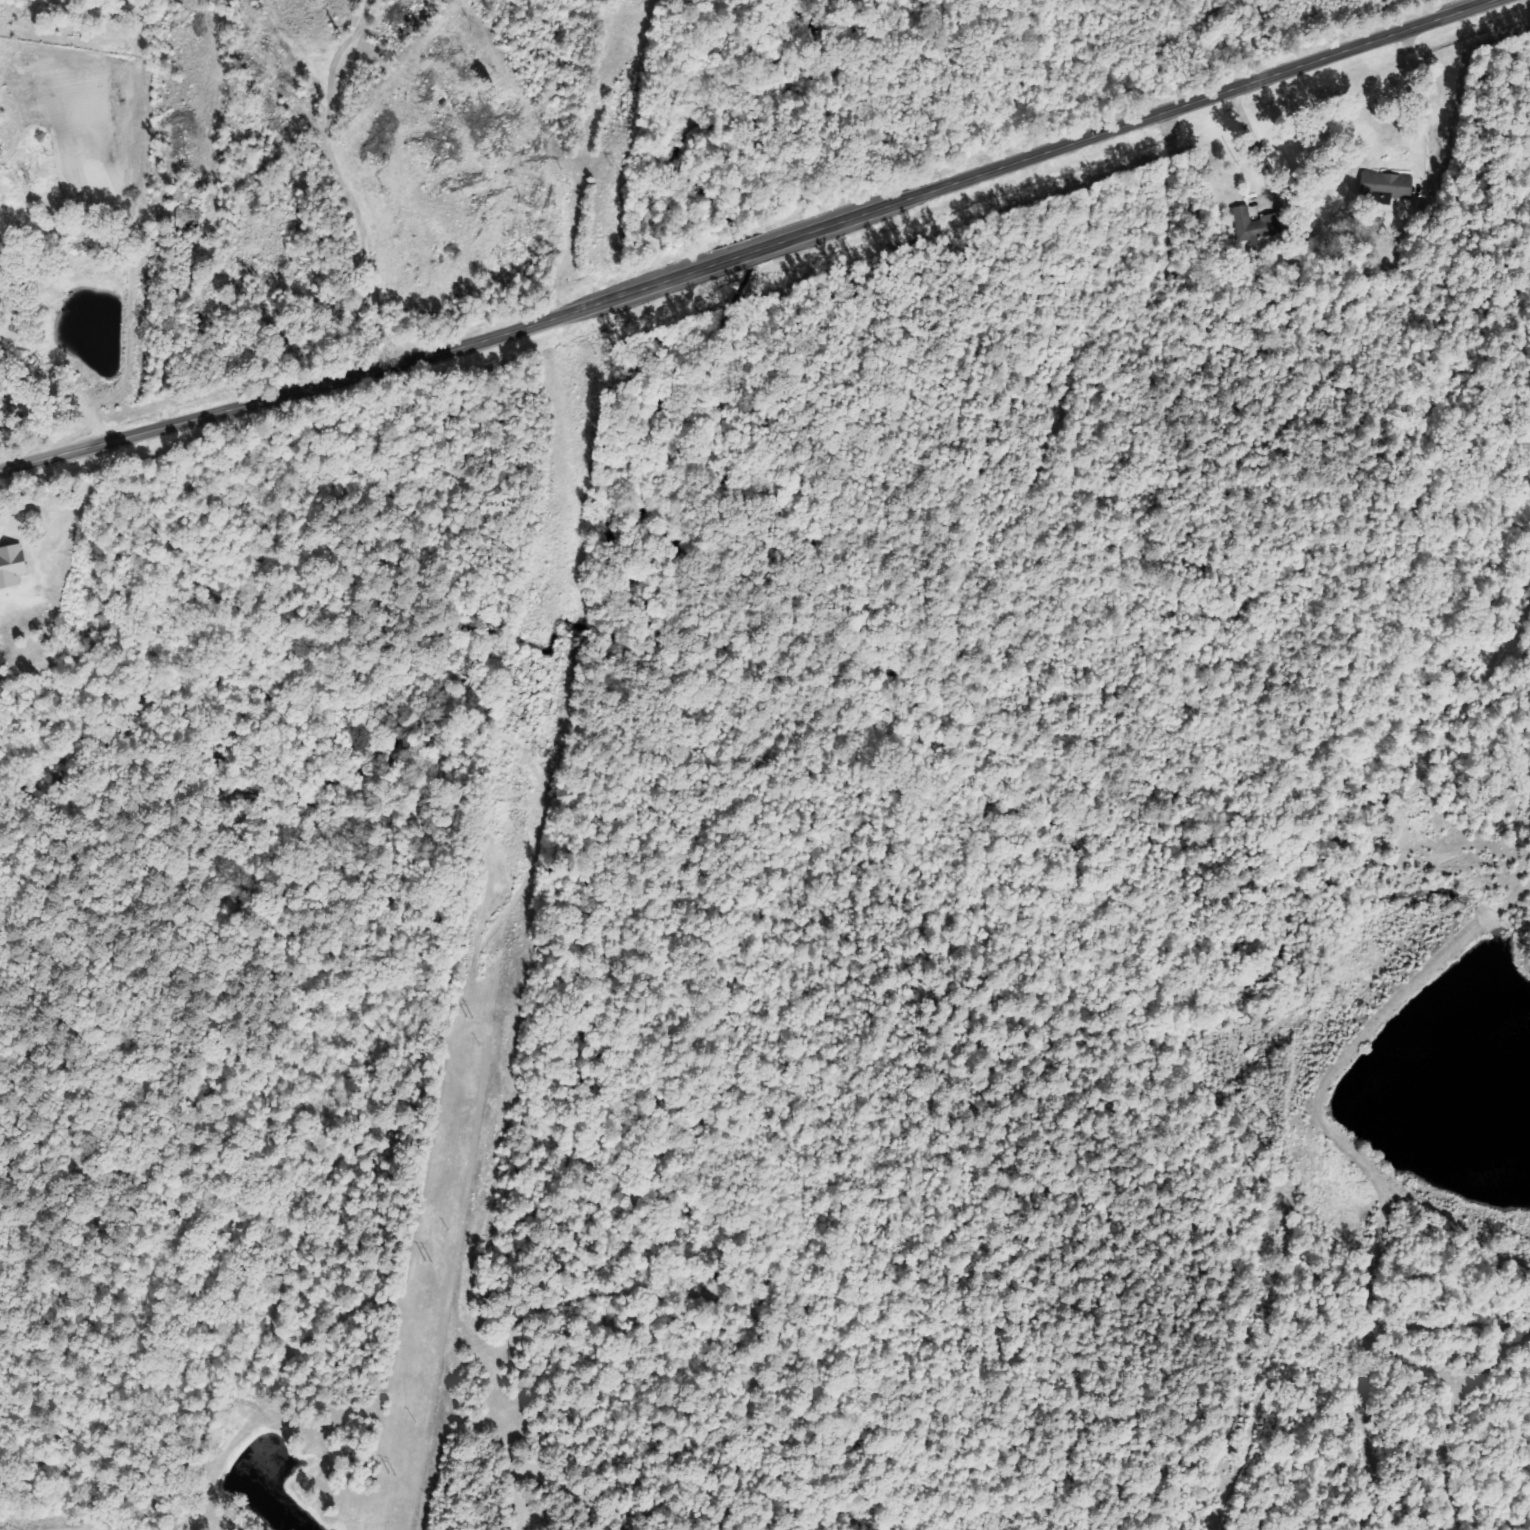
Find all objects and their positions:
road: (1416, 92)
road: (1132, 122)
building: (1384, 187)
building: (1248, 226)
road: (744, 254)
road: (361, 375)
road: (58, 394)
building: (13, 565)

